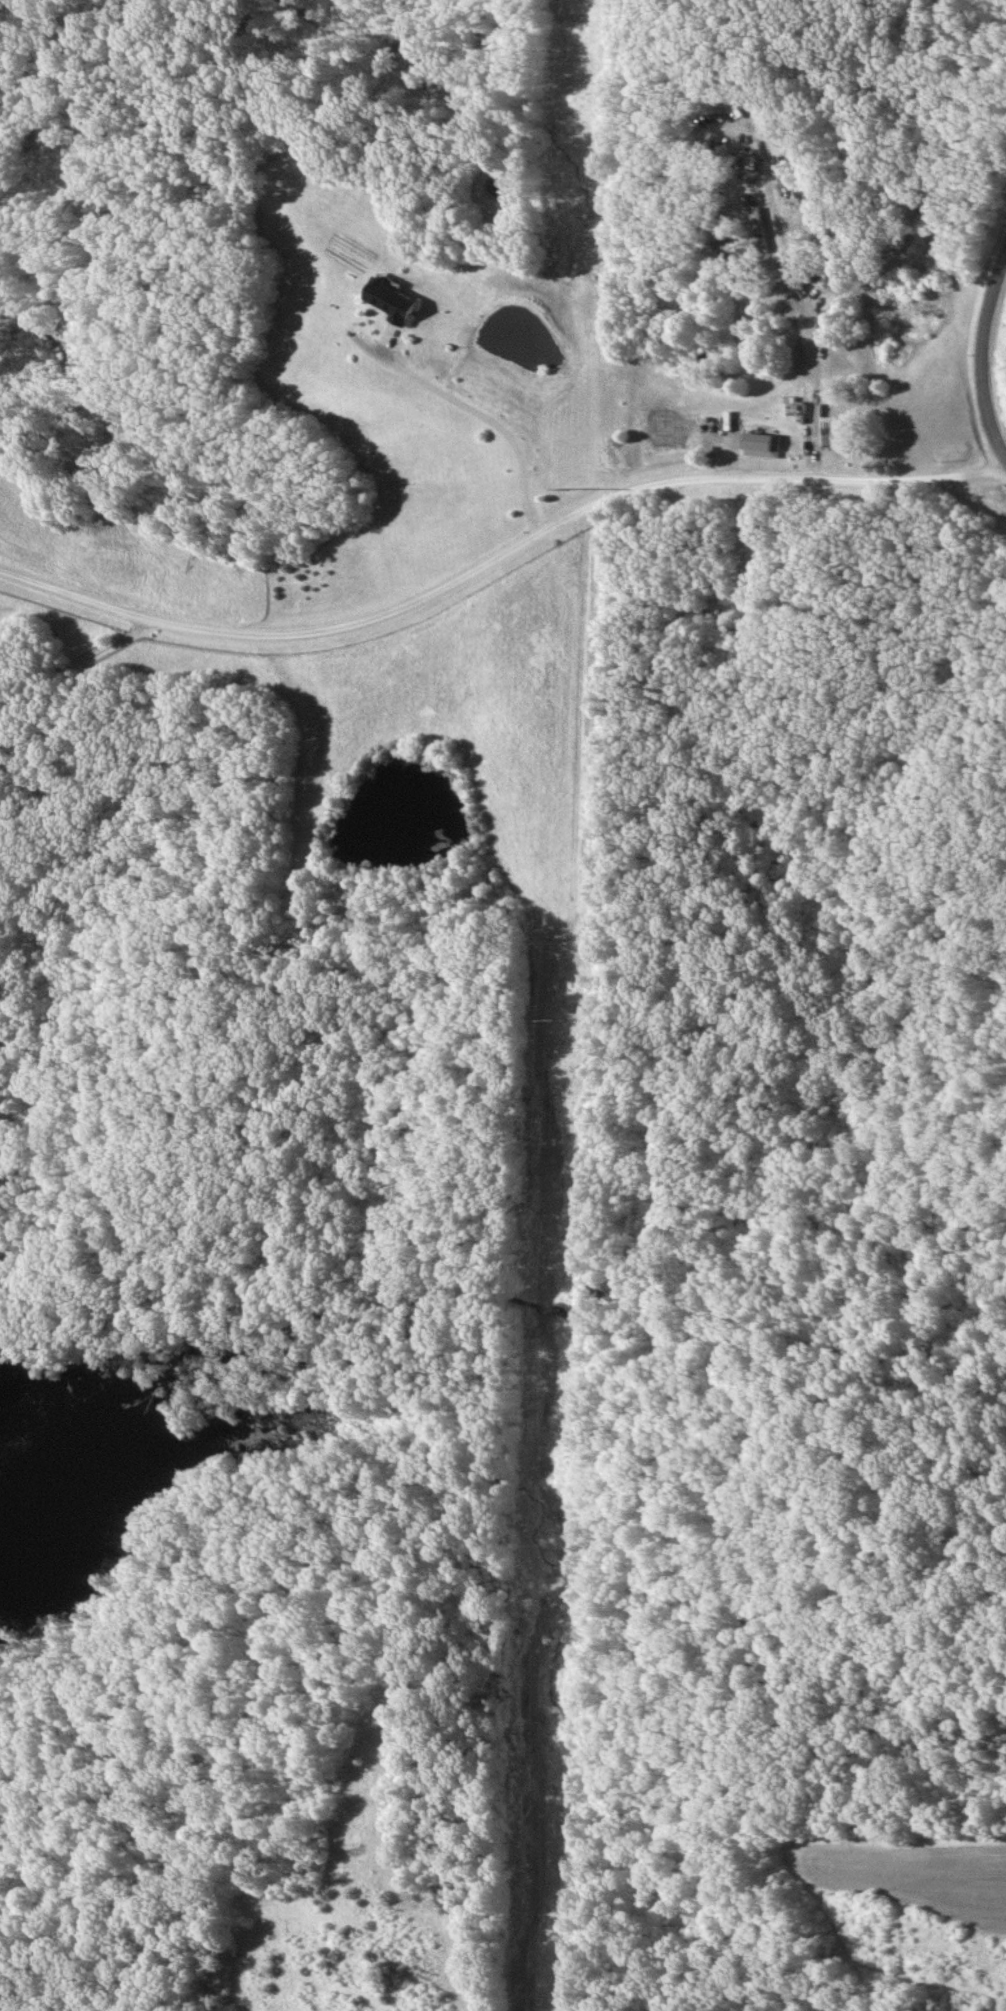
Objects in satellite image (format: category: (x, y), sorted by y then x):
road: (806, 298)
building: (388, 303)
road: (980, 344)
road: (470, 408)
building: (756, 444)
power tower: (573, 490)
road: (738, 550)
road: (498, 554)
road: (75, 658)
power tower: (560, 1021)

